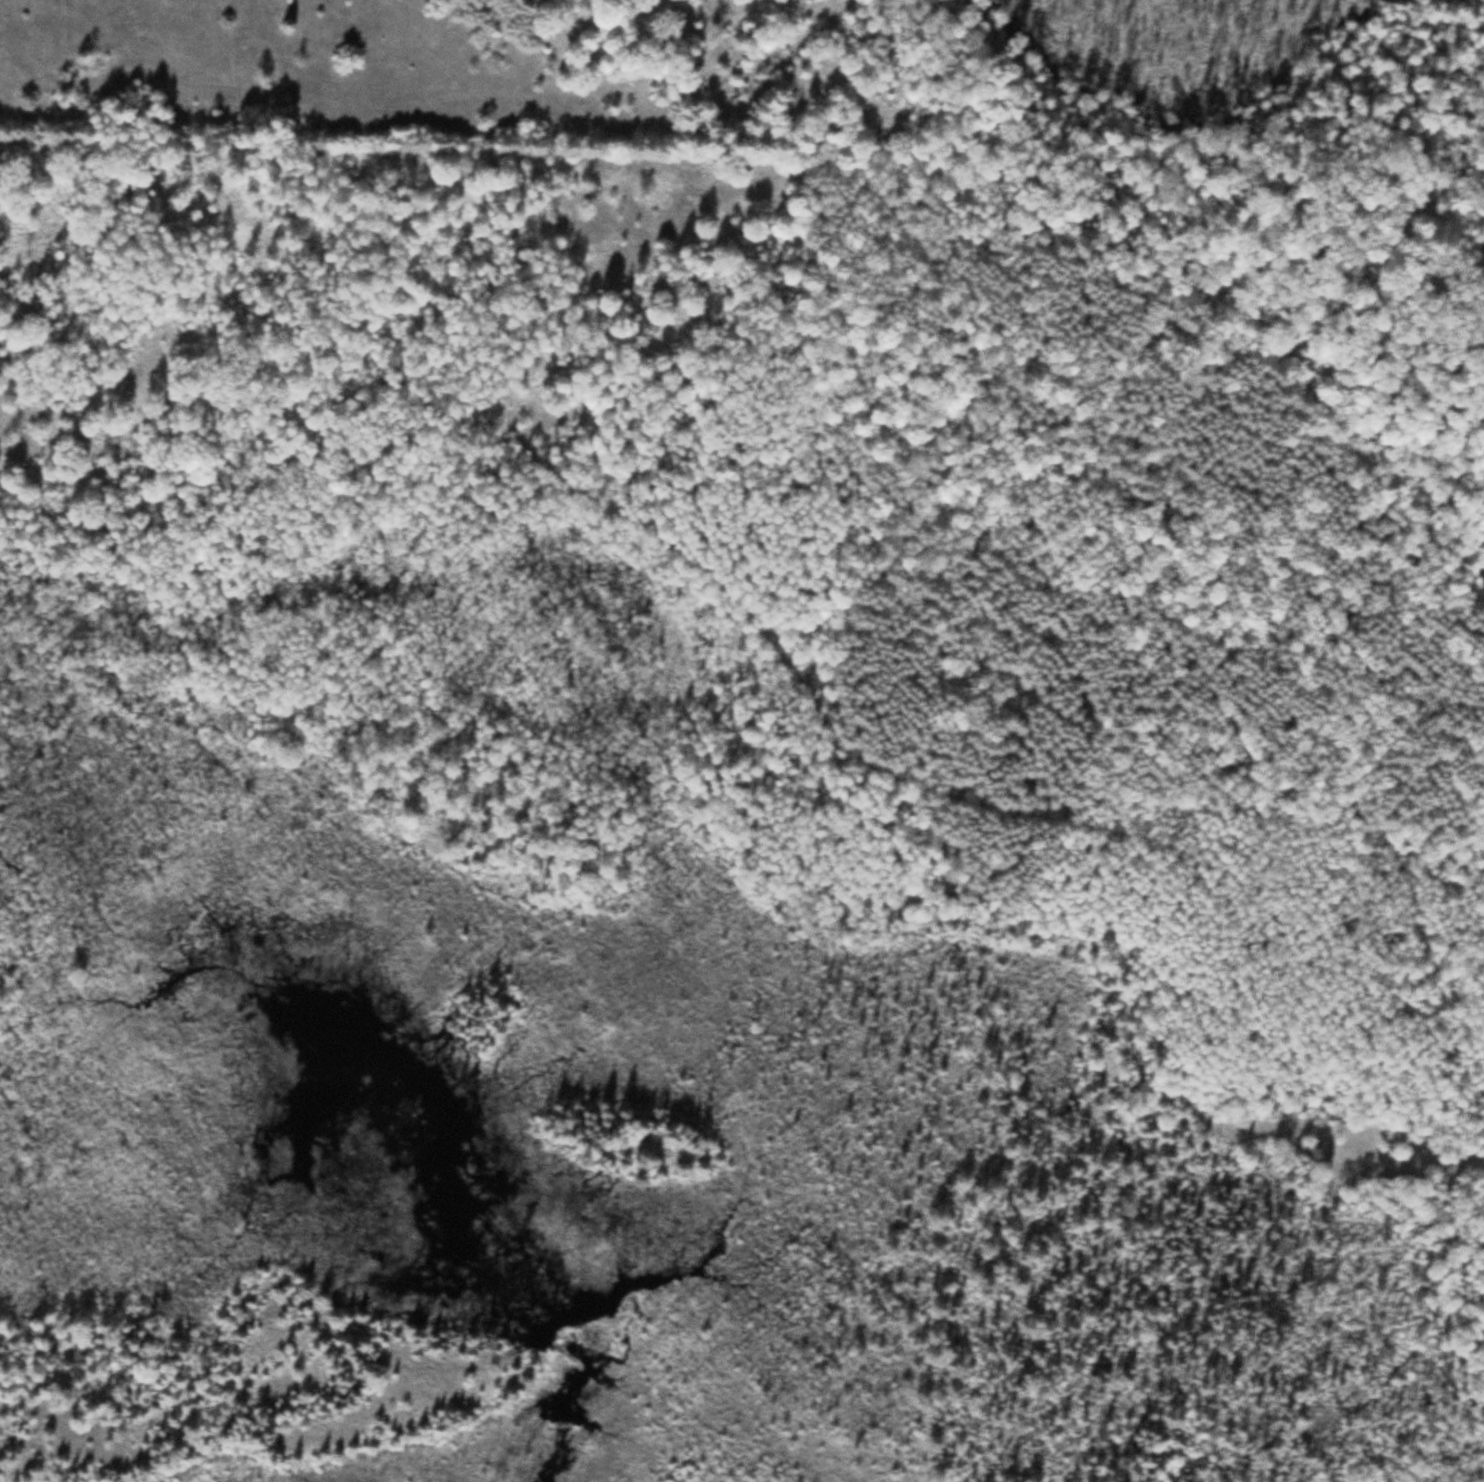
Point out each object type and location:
road: (968, 795)

